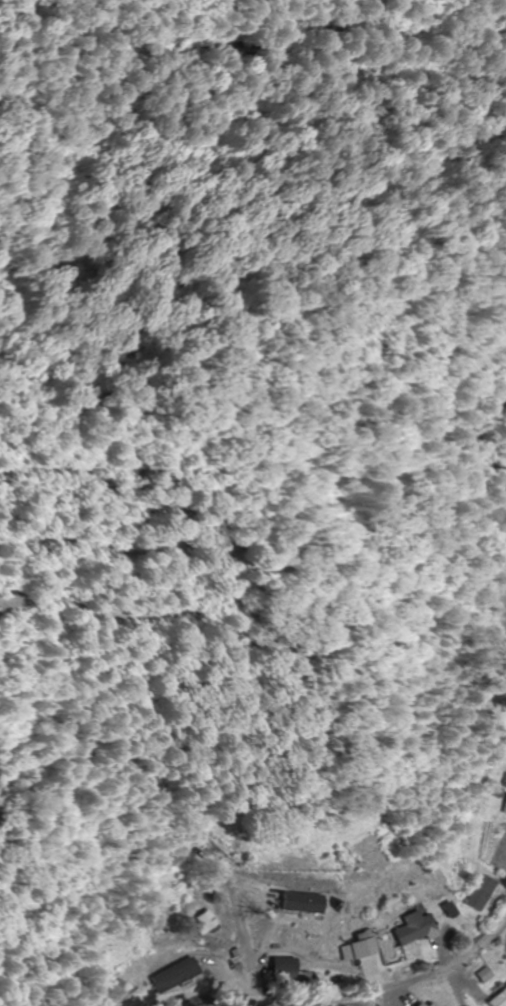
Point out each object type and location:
building: (483, 893)
building: (293, 903)
building: (192, 924)
building: (416, 928)
building: (281, 970)
road: (410, 970)
building: (500, 999)
building: (435, 1004)
building: (425, 1005)

